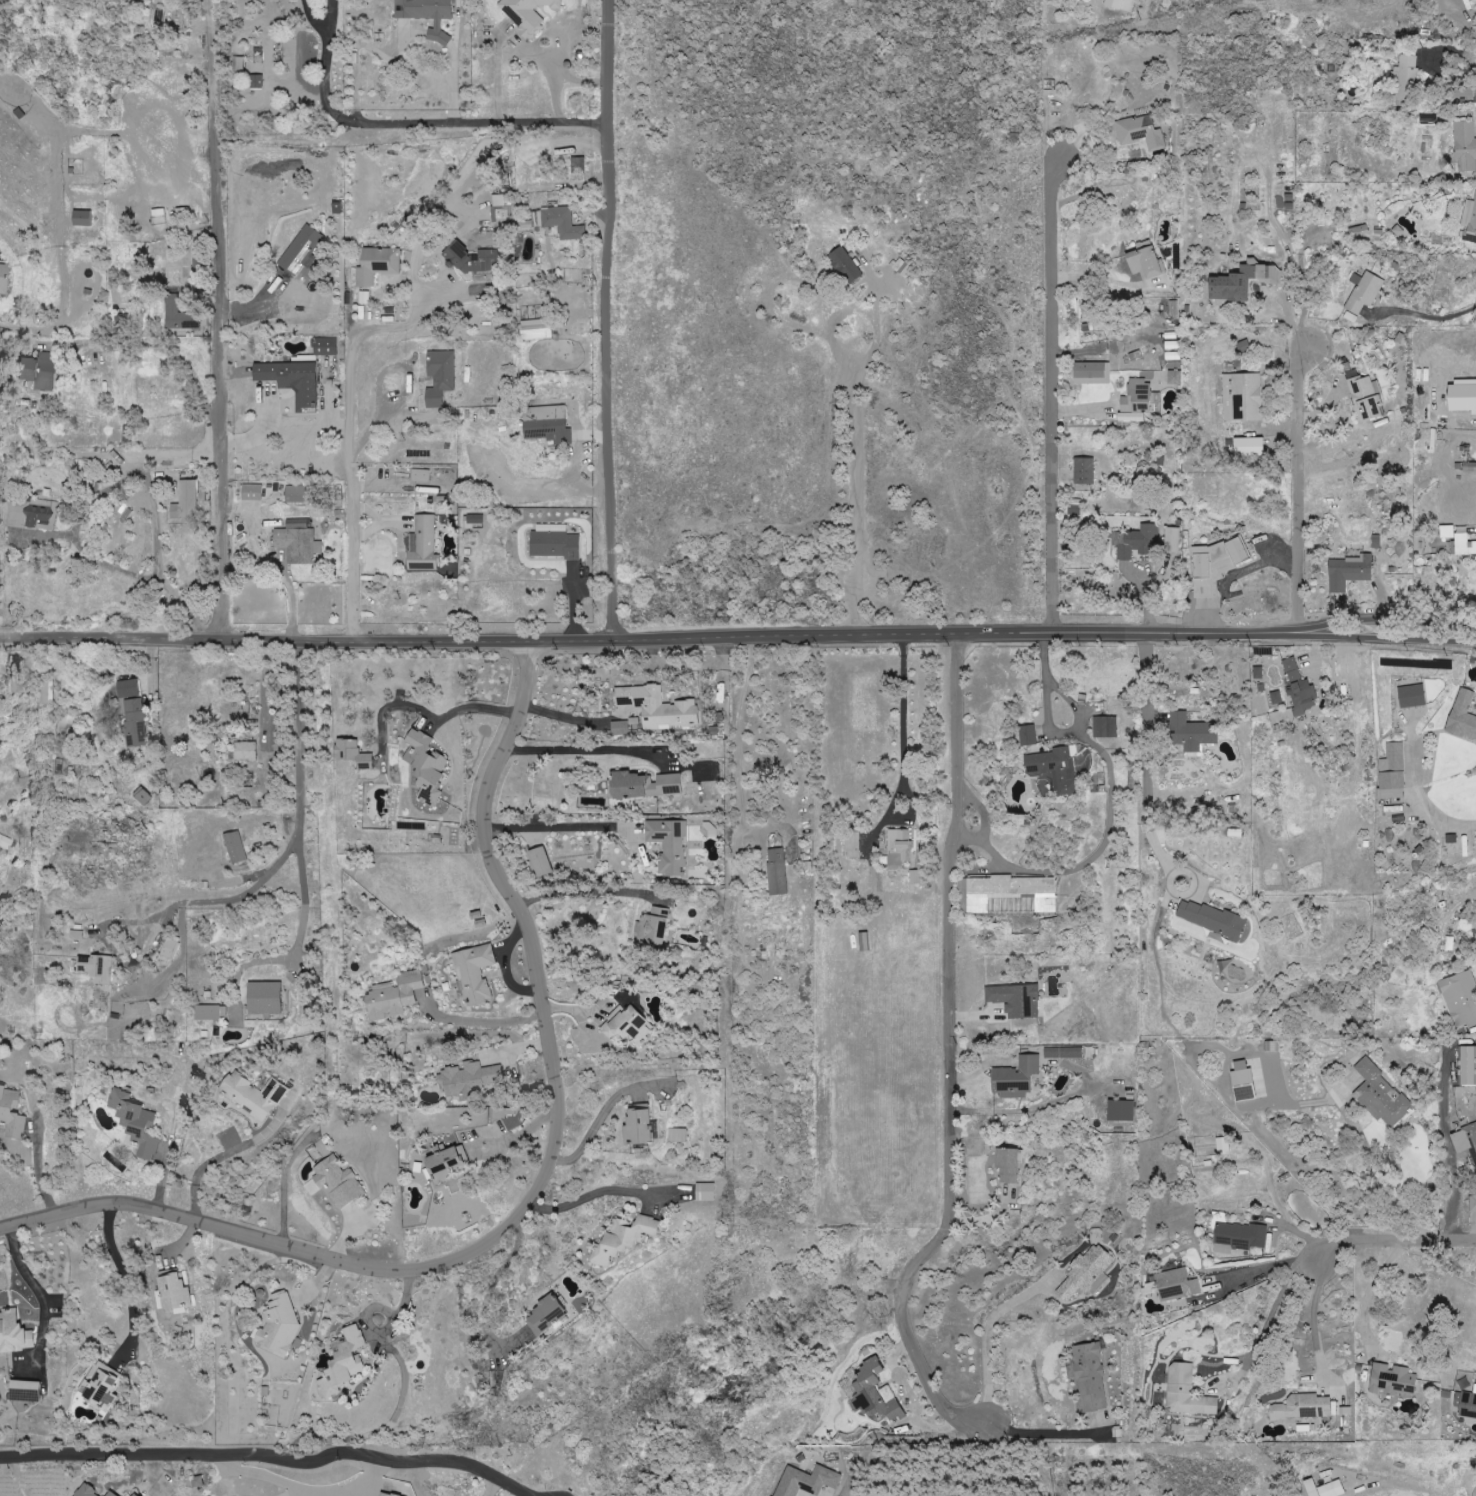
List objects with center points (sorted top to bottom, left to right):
building: (1122, 4)
building: (529, 14)
building: (430, 15)
road: (383, 52)
road: (1434, 61)
building: (239, 64)
road: (325, 69)
building: (1406, 80)
building: (257, 81)
building: (1464, 93)
road: (482, 127)
building: (1142, 130)
building: (1466, 146)
building: (579, 169)
building: (502, 210)
building: (84, 218)
building: (560, 222)
building: (1470, 223)
building: (302, 250)
building: (472, 259)
building: (1147, 261)
building: (379, 265)
building: (847, 265)
building: (903, 266)
building: (2, 278)
building: (1245, 281)
road: (1101, 283)
building: (1365, 292)
building: (366, 298)
building: (180, 315)
road: (1430, 315)
road: (221, 320)
road: (609, 320)
road: (878, 323)
building: (536, 329)
building: (327, 346)
building: (1172, 356)
building: (40, 370)
building: (1090, 373)
building: (441, 377)
building: (1176, 377)
building: (296, 378)
road: (852, 391)
road: (1054, 396)
building: (1139, 397)
building: (1244, 397)
building: (1367, 397)
building: (548, 424)
road: (351, 427)
road: (263, 432)
building: (1251, 447)
road: (1303, 465)
building: (1470, 467)
building: (1086, 471)
building: (420, 475)
building: (254, 492)
building: (297, 494)
building: (187, 501)
building: (32, 514)
building: (475, 518)
building: (552, 528)
building: (1451, 535)
building: (1174, 540)
building: (299, 541)
building: (1141, 542)
building: (424, 545)
building: (556, 545)
building: (1466, 545)
building: (1221, 558)
building: (1350, 572)
building: (1207, 588)
road: (737, 640)
building: (129, 688)
building: (1301, 689)
building: (48, 691)
building: (1413, 696)
building: (1278, 697)
building: (657, 707)
road: (471, 708)
building: (1464, 715)
road: (568, 718)
building: (136, 723)
building: (625, 726)
building: (1106, 727)
road: (899, 728)
road: (1050, 733)
building: (1194, 733)
building: (1030, 736)
road: (581, 748)
building: (246, 751)
road: (1145, 753)
building: (355, 754)
building: (428, 766)
building: (1393, 767)
building: (1056, 769)
road: (300, 770)
building: (645, 785)
building: (1393, 794)
building: (144, 796)
road: (1435, 816)
road: (983, 817)
road: (558, 826)
building: (1452, 839)
building: (4, 843)
building: (671, 845)
building: (852, 845)
building: (901, 847)
road: (992, 849)
road: (1095, 852)
building: (542, 862)
building: (778, 872)
building: (916, 877)
building: (1008, 891)
road: (582, 892)
road: (157, 915)
building: (1214, 919)
road: (958, 932)
building: (77, 934)
building: (866, 942)
road: (720, 948)
building: (169, 950)
building: (97, 967)
building: (476, 972)
building: (395, 996)
building: (267, 997)
building: (1462, 997)
building: (1017, 999)
building: (210, 1012)
road: (478, 1019)
building: (630, 1021)
building: (1064, 1052)
building: (1467, 1064)
building: (471, 1077)
building: (1018, 1077)
building: (1247, 1084)
building: (256, 1094)
building: (1381, 1095)
building: (1123, 1110)
building: (13, 1111)
building: (506, 1111)
road: (603, 1112)
building: (137, 1123)
building: (641, 1125)
building: (678, 1135)
building: (1466, 1138)
road: (503, 1147)
road: (226, 1153)
building: (1010, 1164)
building: (450, 1166)
road: (1377, 1166)
road: (38, 1173)
building: (339, 1182)
road: (285, 1183)
road: (534, 1190)
building: (706, 1191)
road: (593, 1193)
building: (1473, 1203)
building: (1240, 1237)
building: (625, 1238)
road: (1330, 1247)
building: (1086, 1272)
road: (128, 1281)
road: (493, 1283)
building: (1178, 1284)
road: (39, 1288)
building: (176, 1289)
road: (1370, 1293)
building: (548, 1315)
road: (1314, 1315)
building: (280, 1325)
road: (988, 1326)
building: (15, 1332)
road: (905, 1334)
road: (385, 1335)
building: (346, 1362)
building: (1092, 1377)
building: (1393, 1379)
building: (104, 1383)
building: (28, 1390)
building: (872, 1391)
building: (1189, 1392)
building: (0, 1397)
building: (1469, 1404)
building: (1305, 1407)
road: (1044, 1432)
road: (270, 1455)
building: (199, 1481)
building: (808, 1481)
building: (1334, 1488)
road: (303, 1489)
building: (88, 1491)
building: (113, 1494)
building: (387, 1494)
building: (137, 1495)

